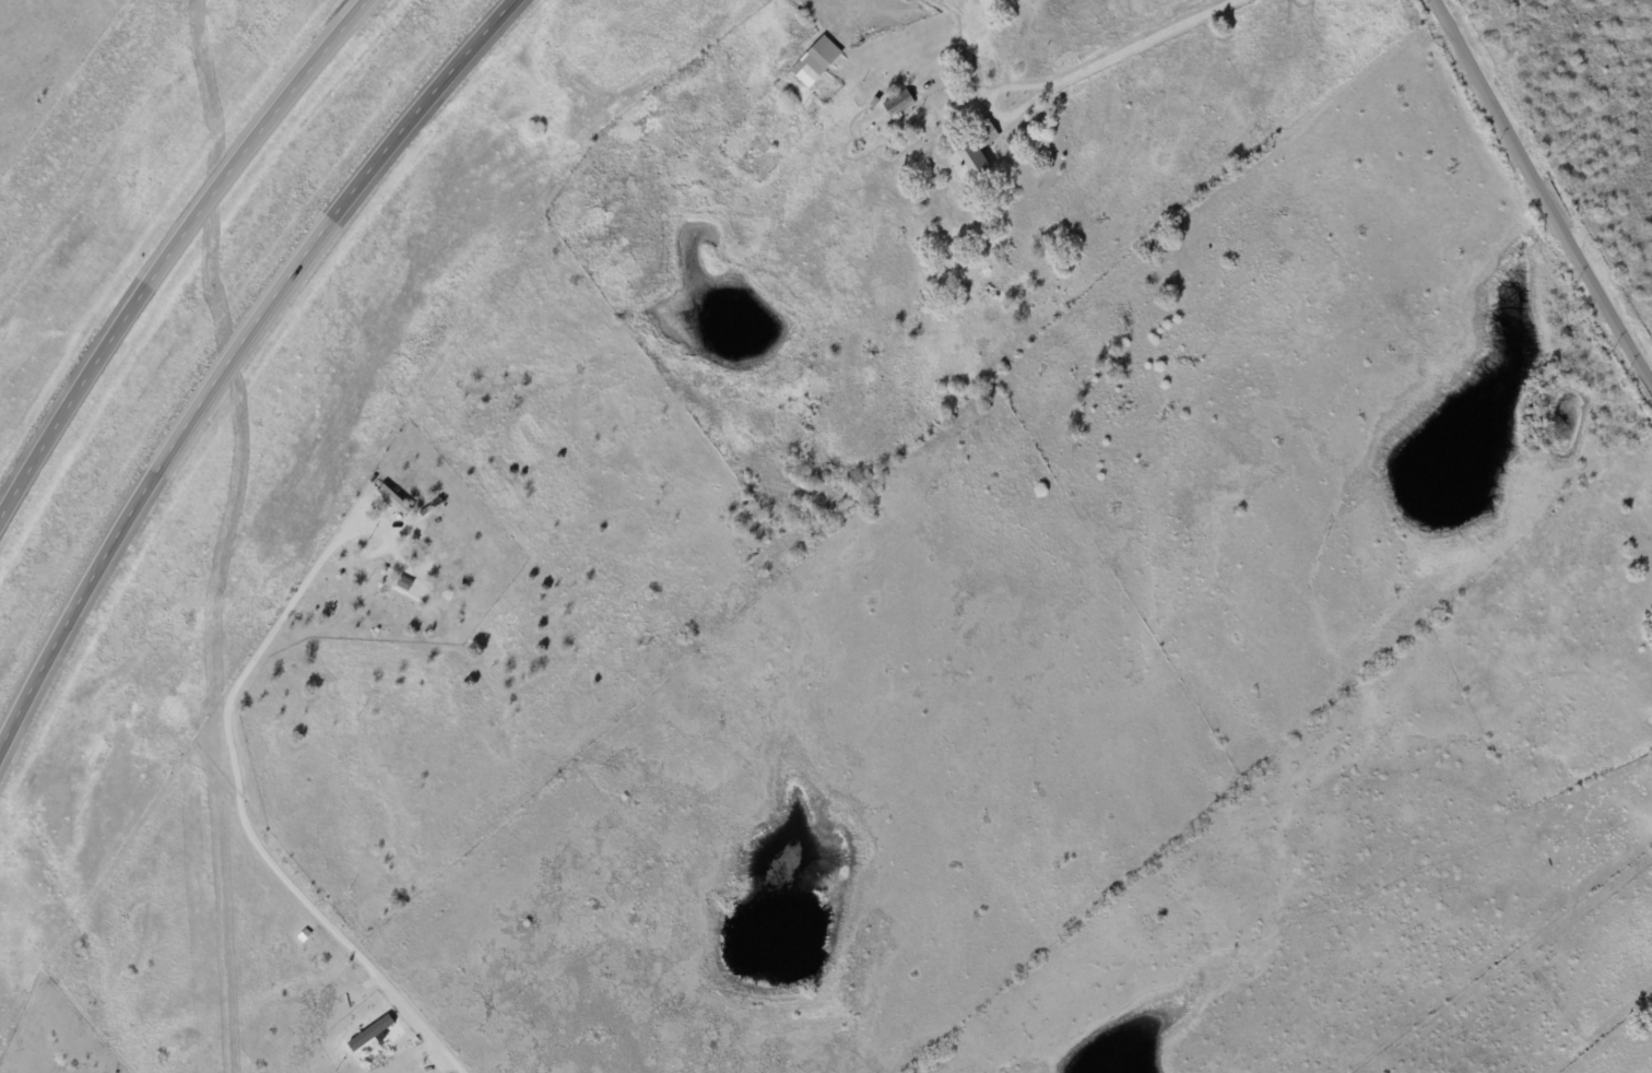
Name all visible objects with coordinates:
road: (1143, 42)
building: (815, 60)
building: (898, 102)
road: (986, 107)
building: (986, 131)
building: (968, 163)
road: (1542, 194)
road: (172, 247)
road: (231, 354)
road: (240, 837)

